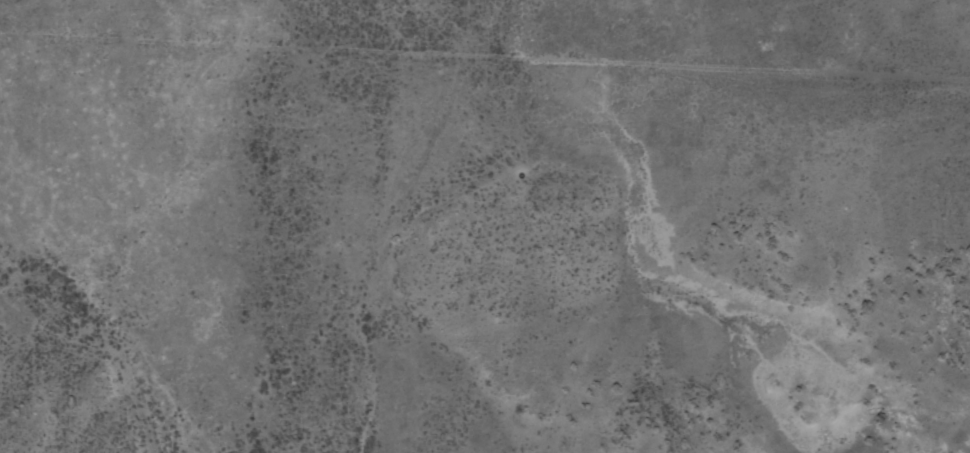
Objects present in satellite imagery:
road: (484, 96)

